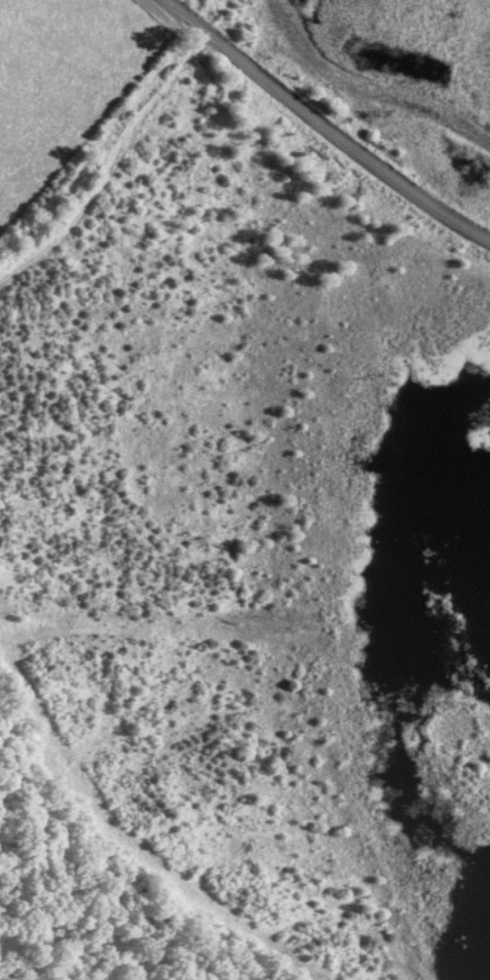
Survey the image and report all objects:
road: (321, 128)

